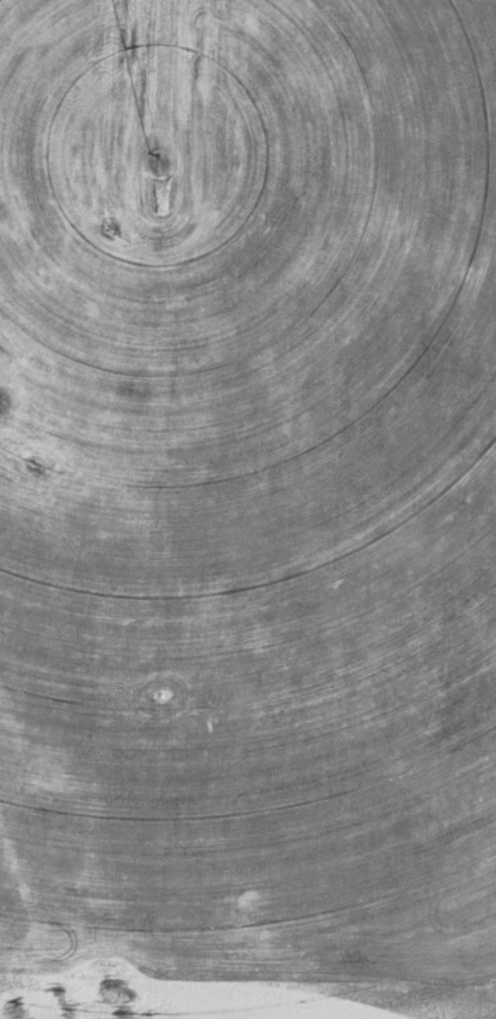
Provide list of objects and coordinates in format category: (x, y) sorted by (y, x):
wastewater plant: (248, 509)
crop: (240, 998)

